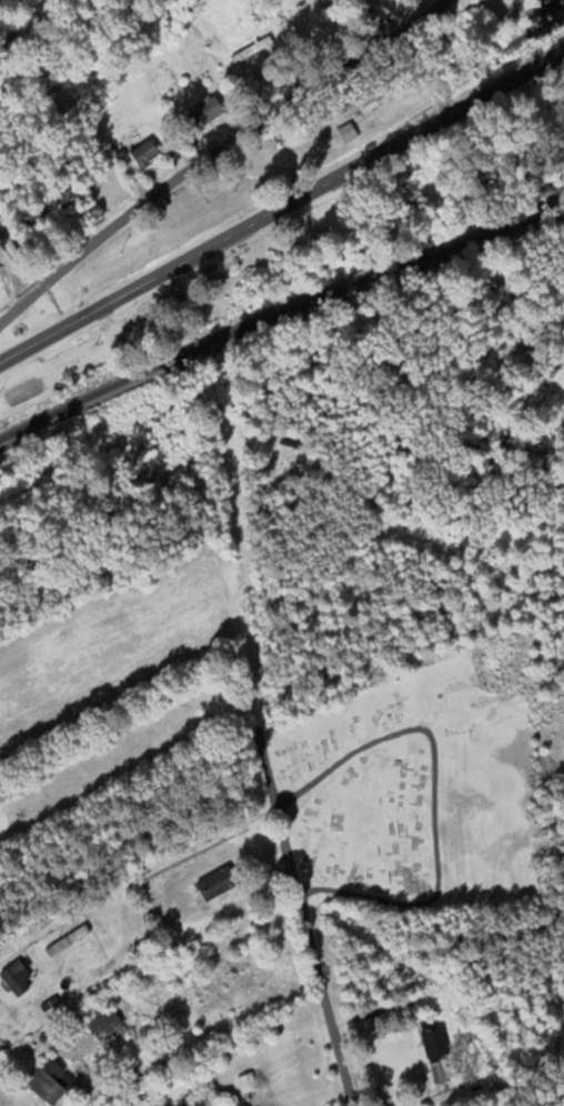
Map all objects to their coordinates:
road: (318, 30)
building: (252, 50)
building: (205, 112)
building: (348, 132)
road: (215, 151)
building: (144, 154)
road: (338, 177)
building: (68, 194)
building: (316, 237)
building: (8, 244)
road: (9, 284)
railway: (276, 314)
road: (56, 331)
road: (284, 375)
building: (153, 464)
road: (396, 551)
road: (263, 754)
park: (419, 796)
building: (215, 884)
building: (67, 942)
building: (16, 978)
building: (105, 1026)
road: (456, 1028)
building: (434, 1044)
building: (49, 1083)
building: (207, 1103)

